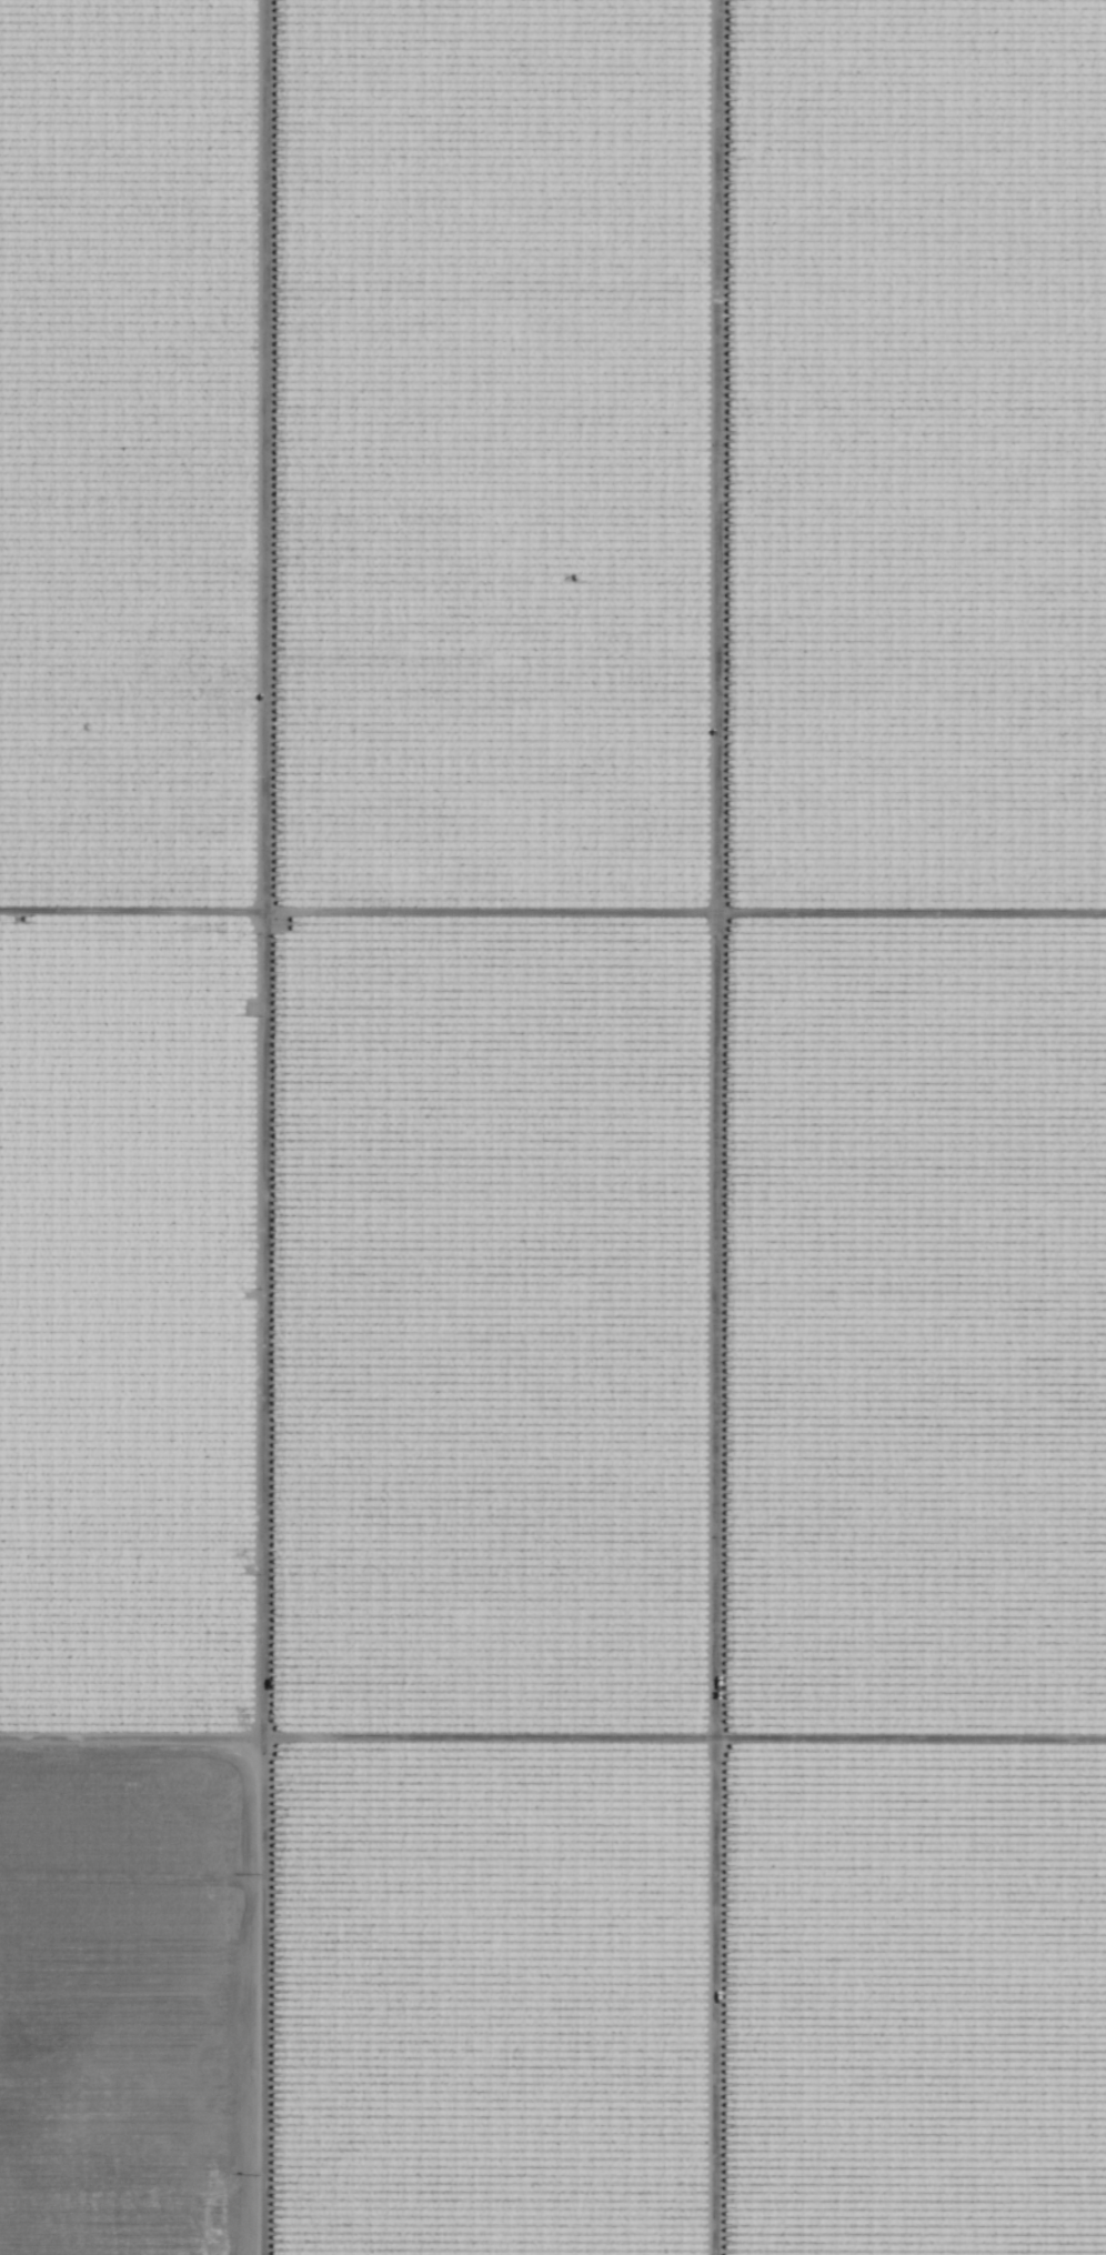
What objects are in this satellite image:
road: (552, 954)
road: (251, 1127)
crop: (553, 1127)

